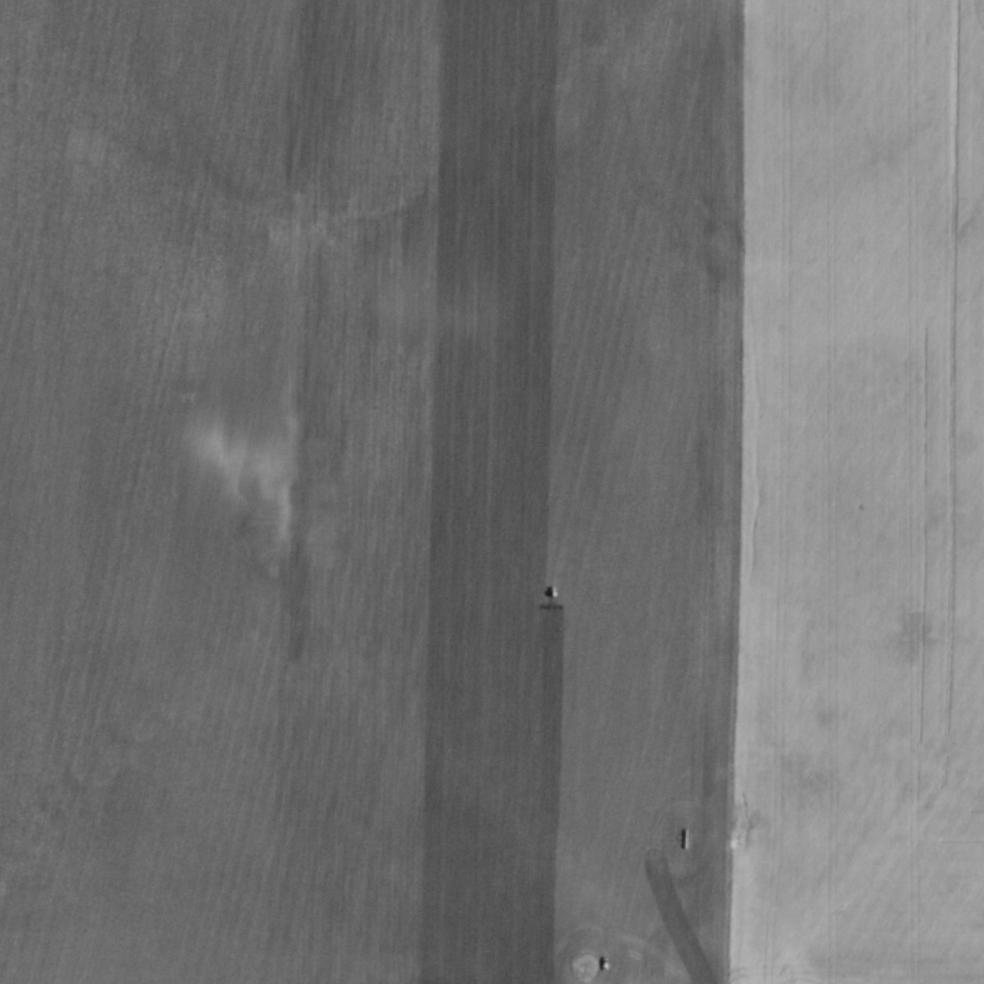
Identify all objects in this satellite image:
crop: (492, 492)

